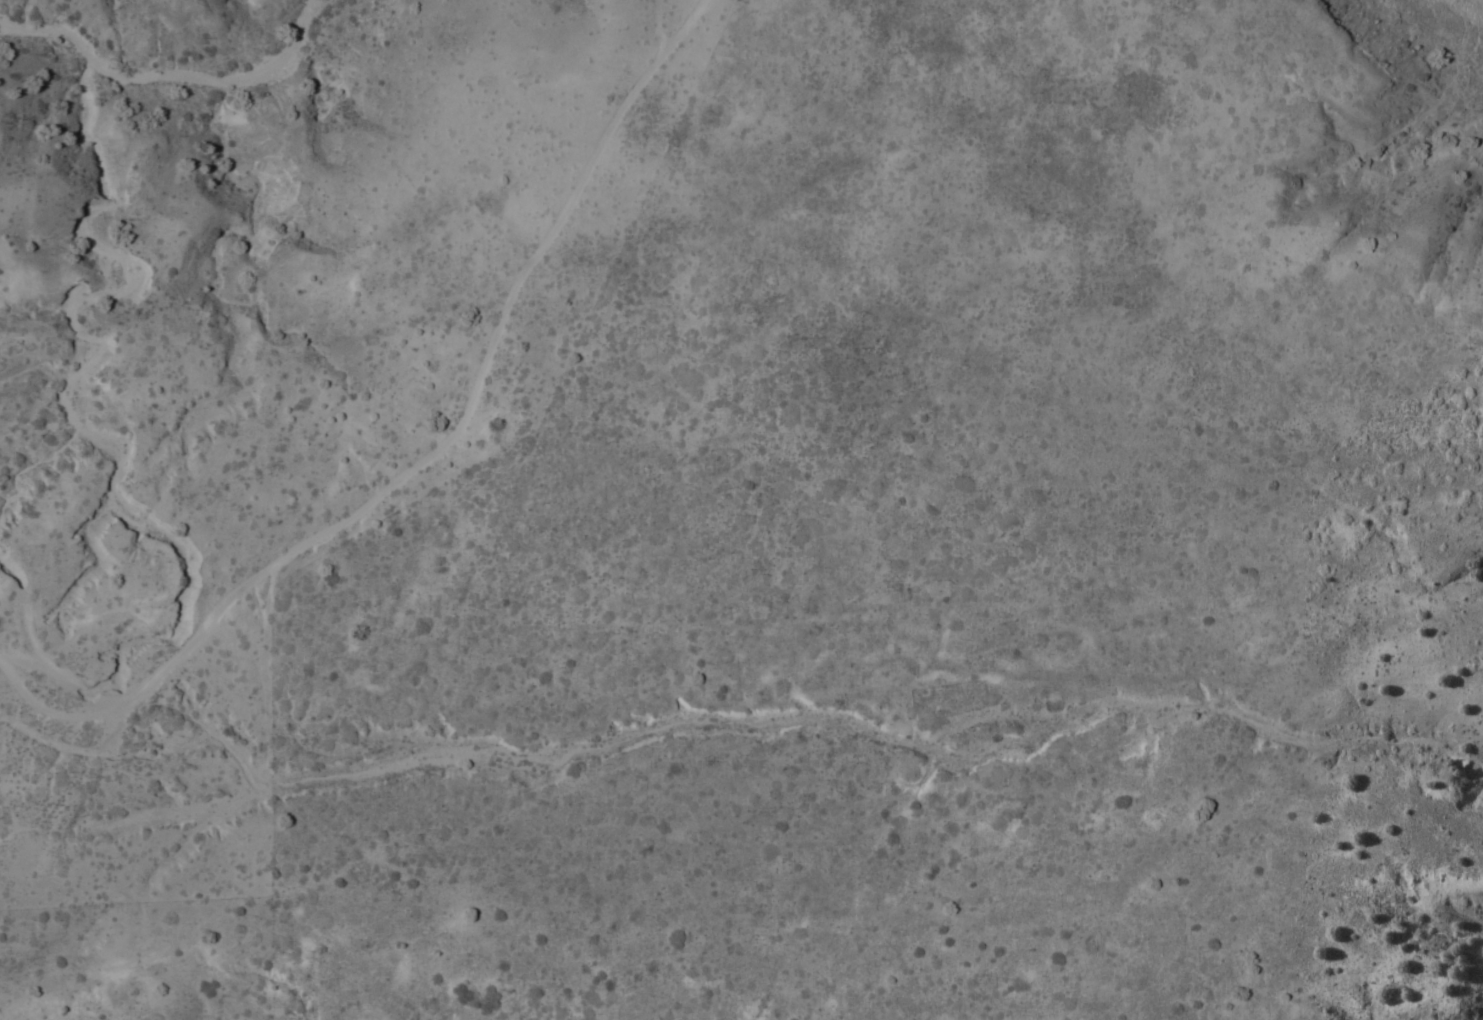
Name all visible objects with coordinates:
road: (452, 436)
park: (948, 700)

